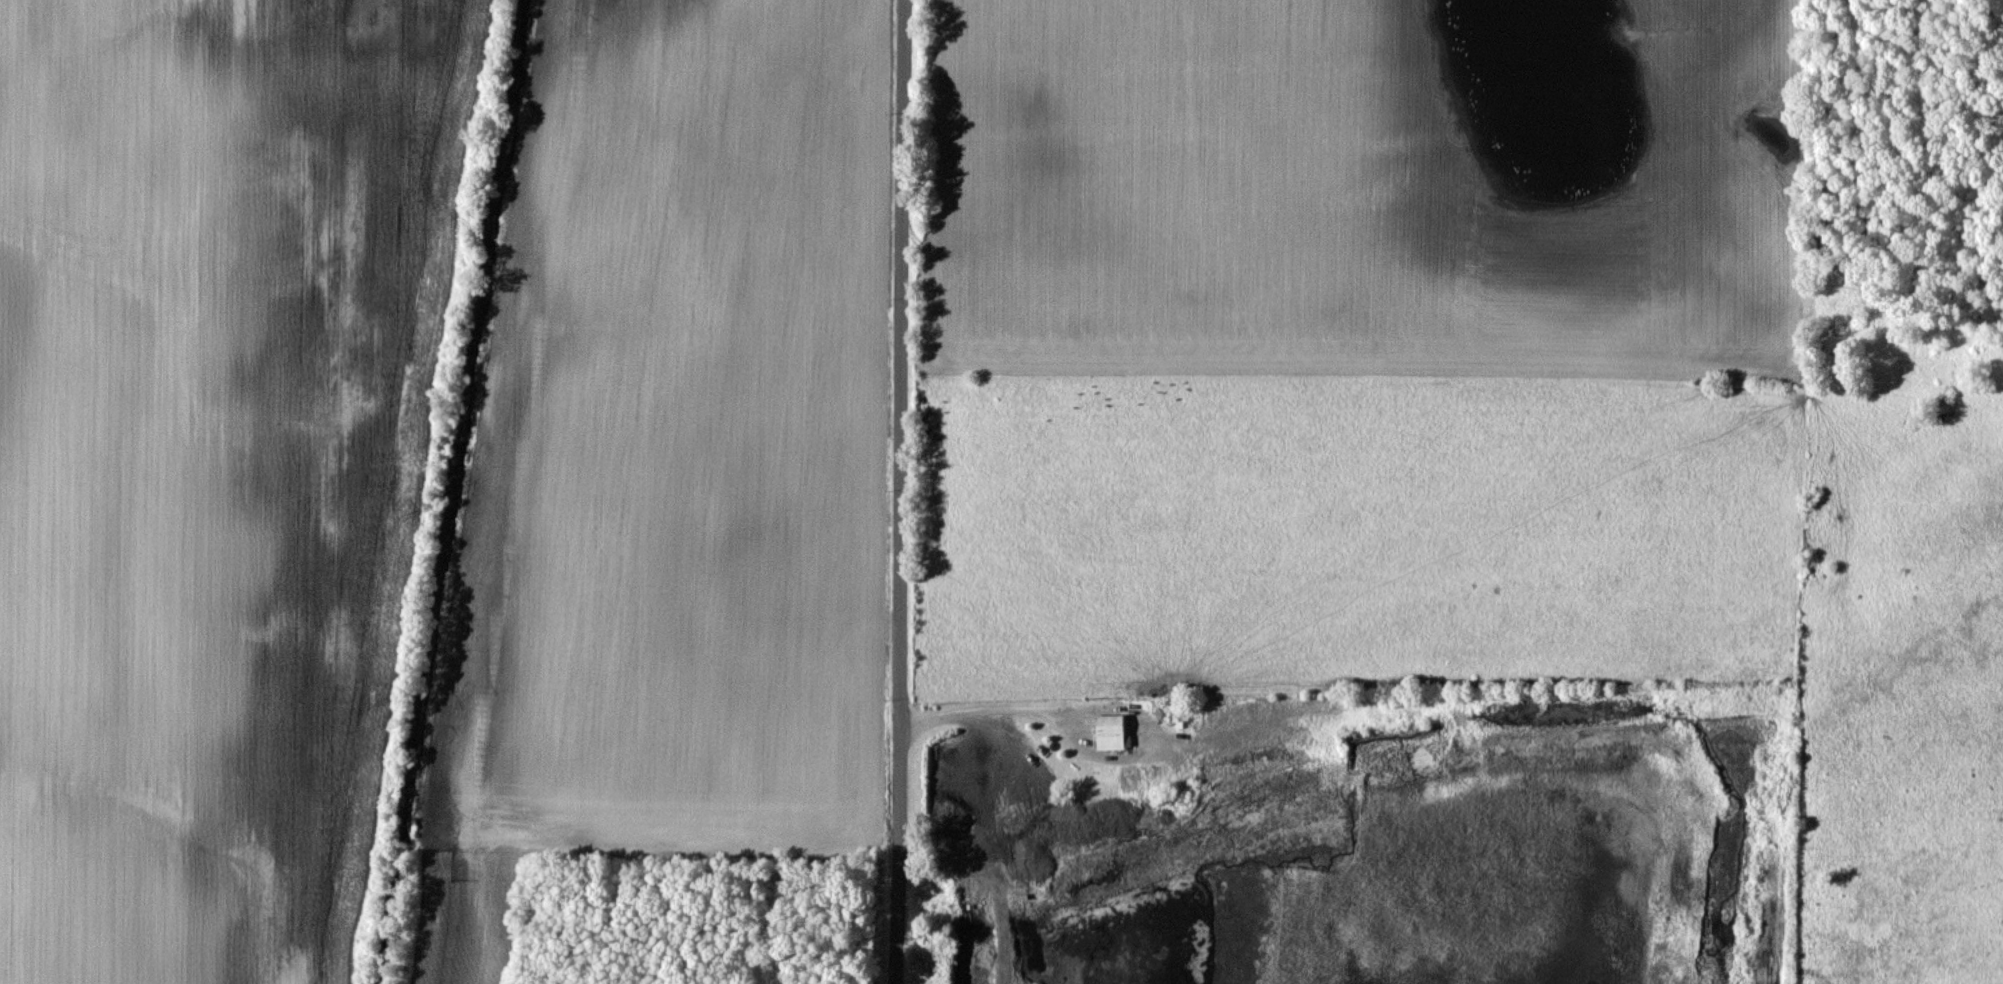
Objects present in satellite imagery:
crop: (212, 465)
road: (901, 492)
road: (1008, 710)
building: (1113, 731)

